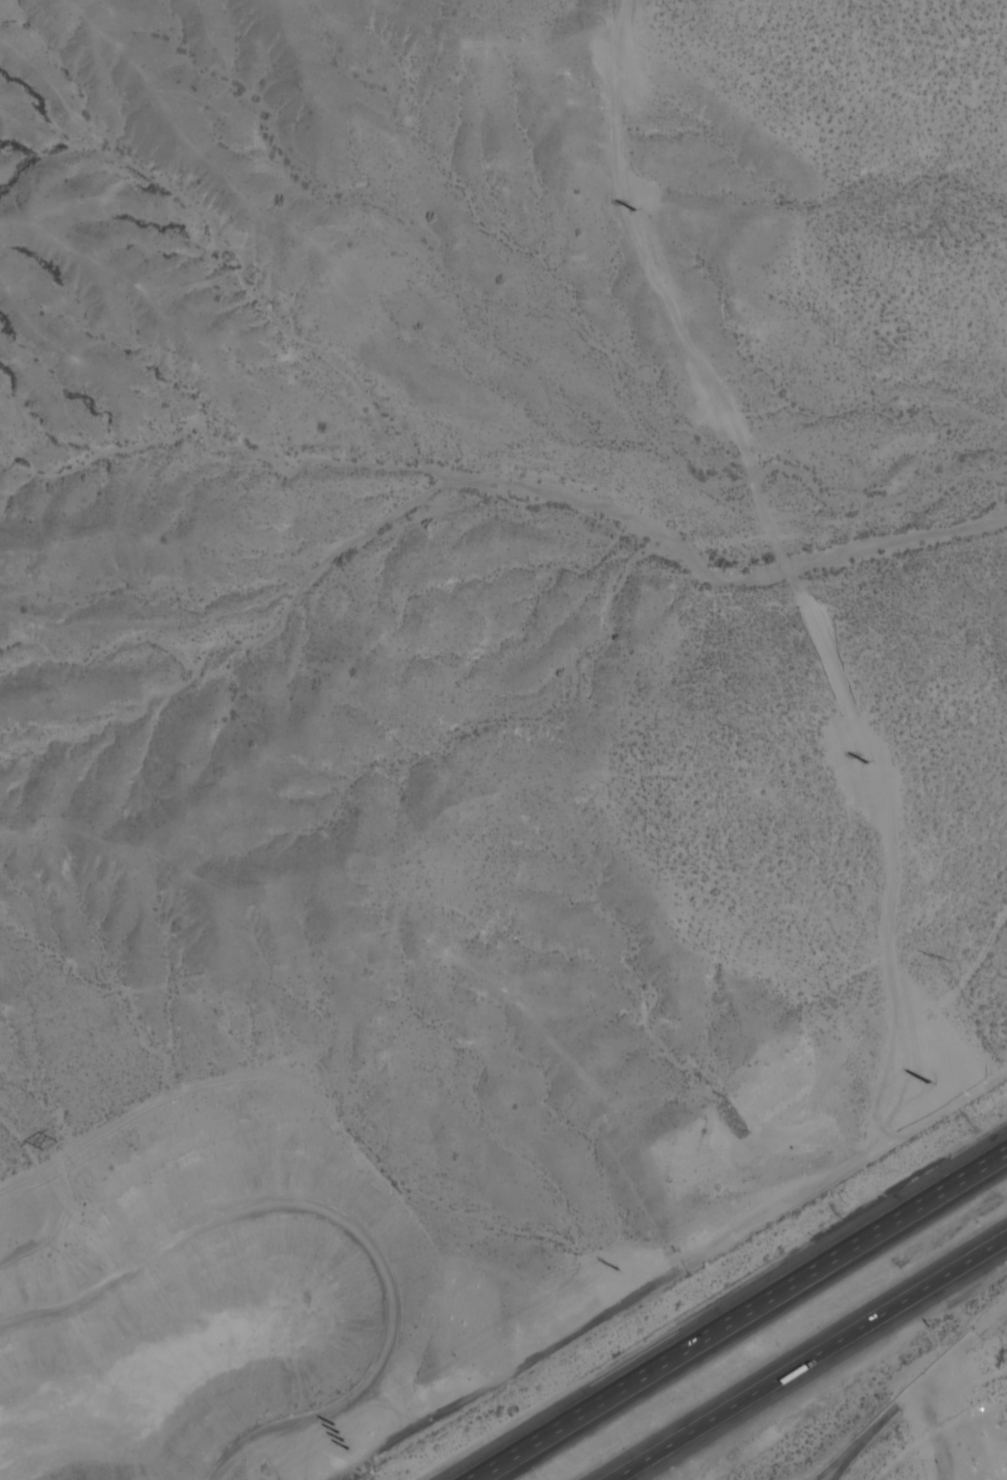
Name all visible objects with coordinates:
power tower: (650, 209)
power tower: (717, 414)
power tower: (854, 780)
power tower: (938, 959)
power tower: (929, 1082)
power tower: (50, 1145)
power tower: (619, 1270)
road: (735, 1314)
road: (809, 1358)
power tower: (342, 1436)

